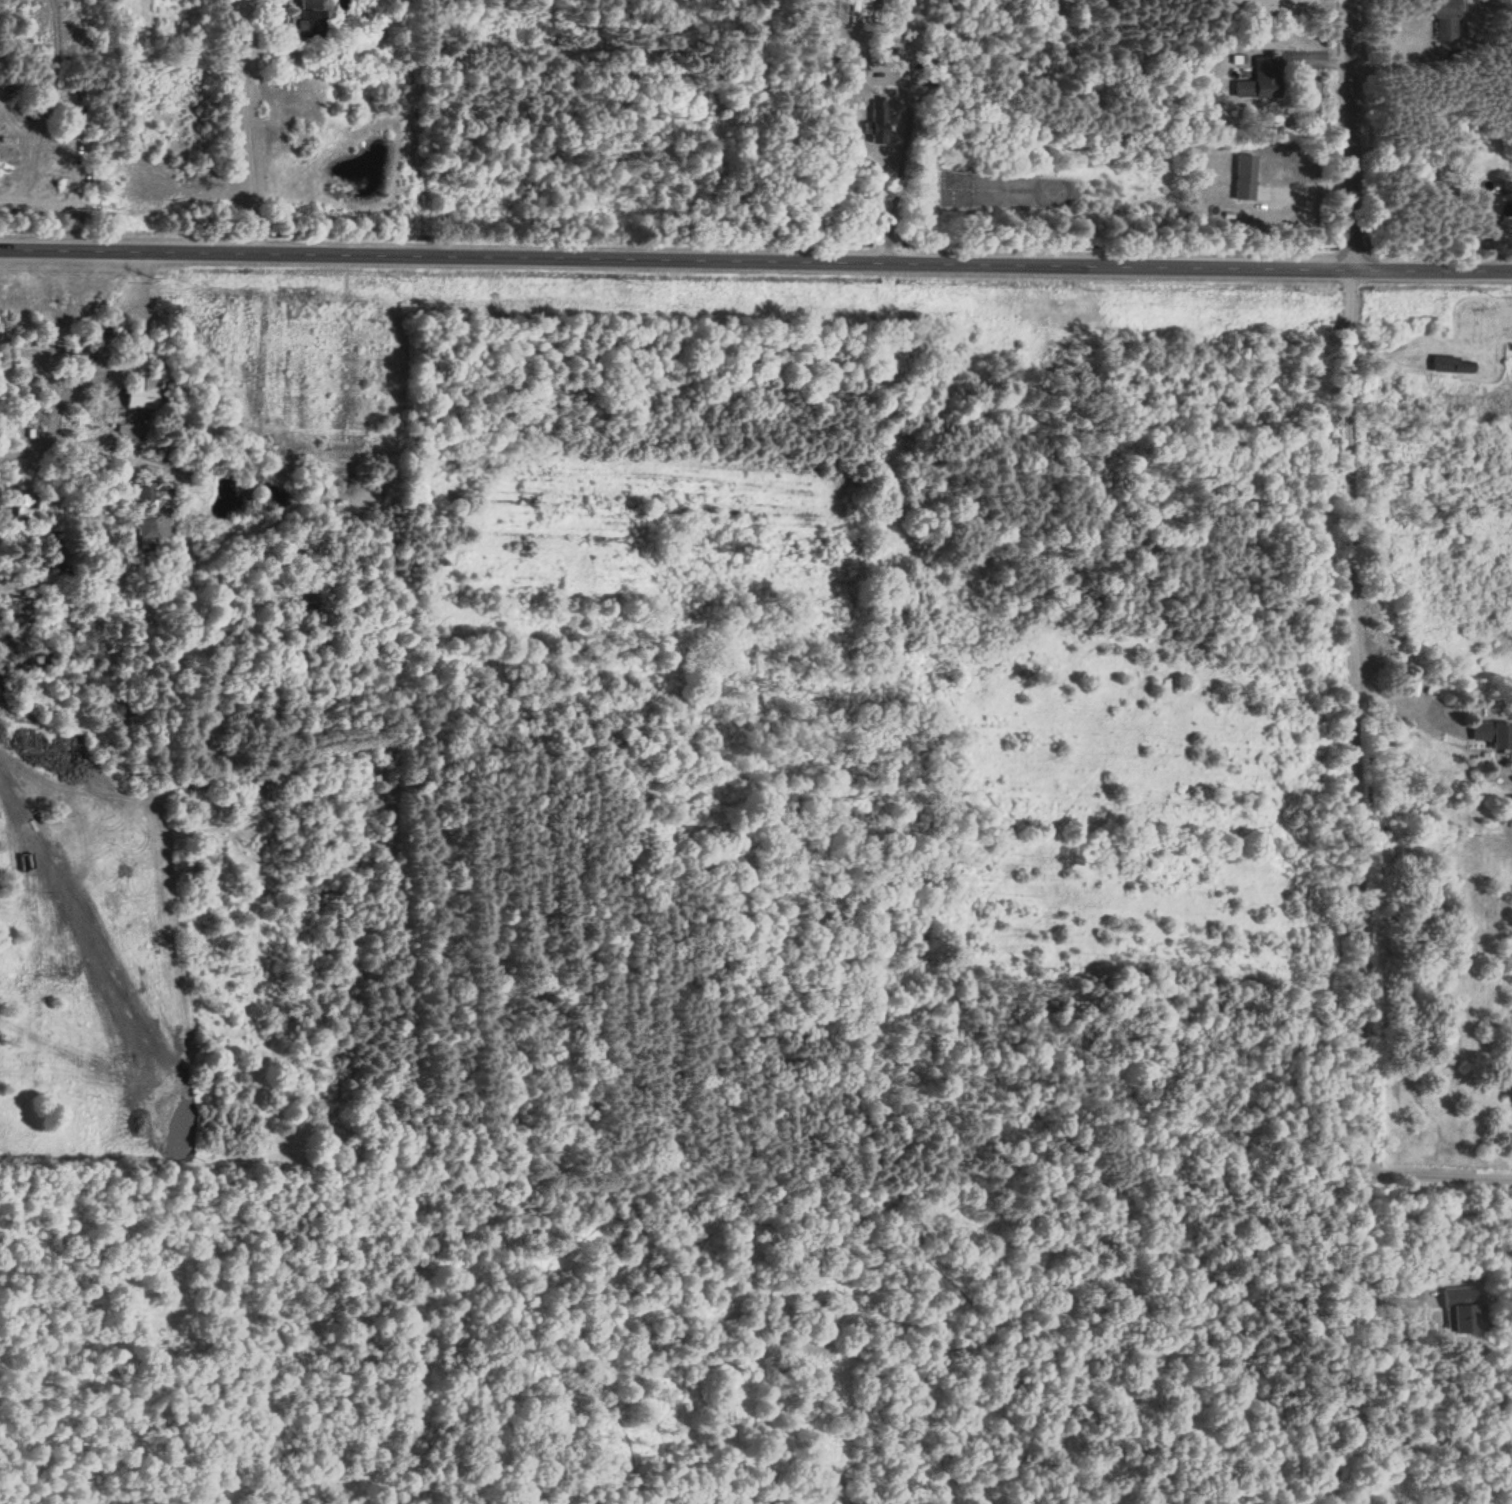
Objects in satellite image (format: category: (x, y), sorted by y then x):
building: (1443, 19)
building: (304, 20)
building: (858, 78)
building: (1258, 79)
building: (874, 122)
road: (1347, 131)
road: (245, 137)
road: (900, 165)
building: (1243, 175)
building: (1234, 215)
road: (756, 256)
building: (1450, 364)
road: (103, 379)
building: (138, 392)
building: (23, 506)
building: (152, 510)
road: (1404, 710)
road: (1357, 715)
building: (1491, 733)
road: (1438, 1171)
road: (1357, 1262)
building: (1457, 1310)

